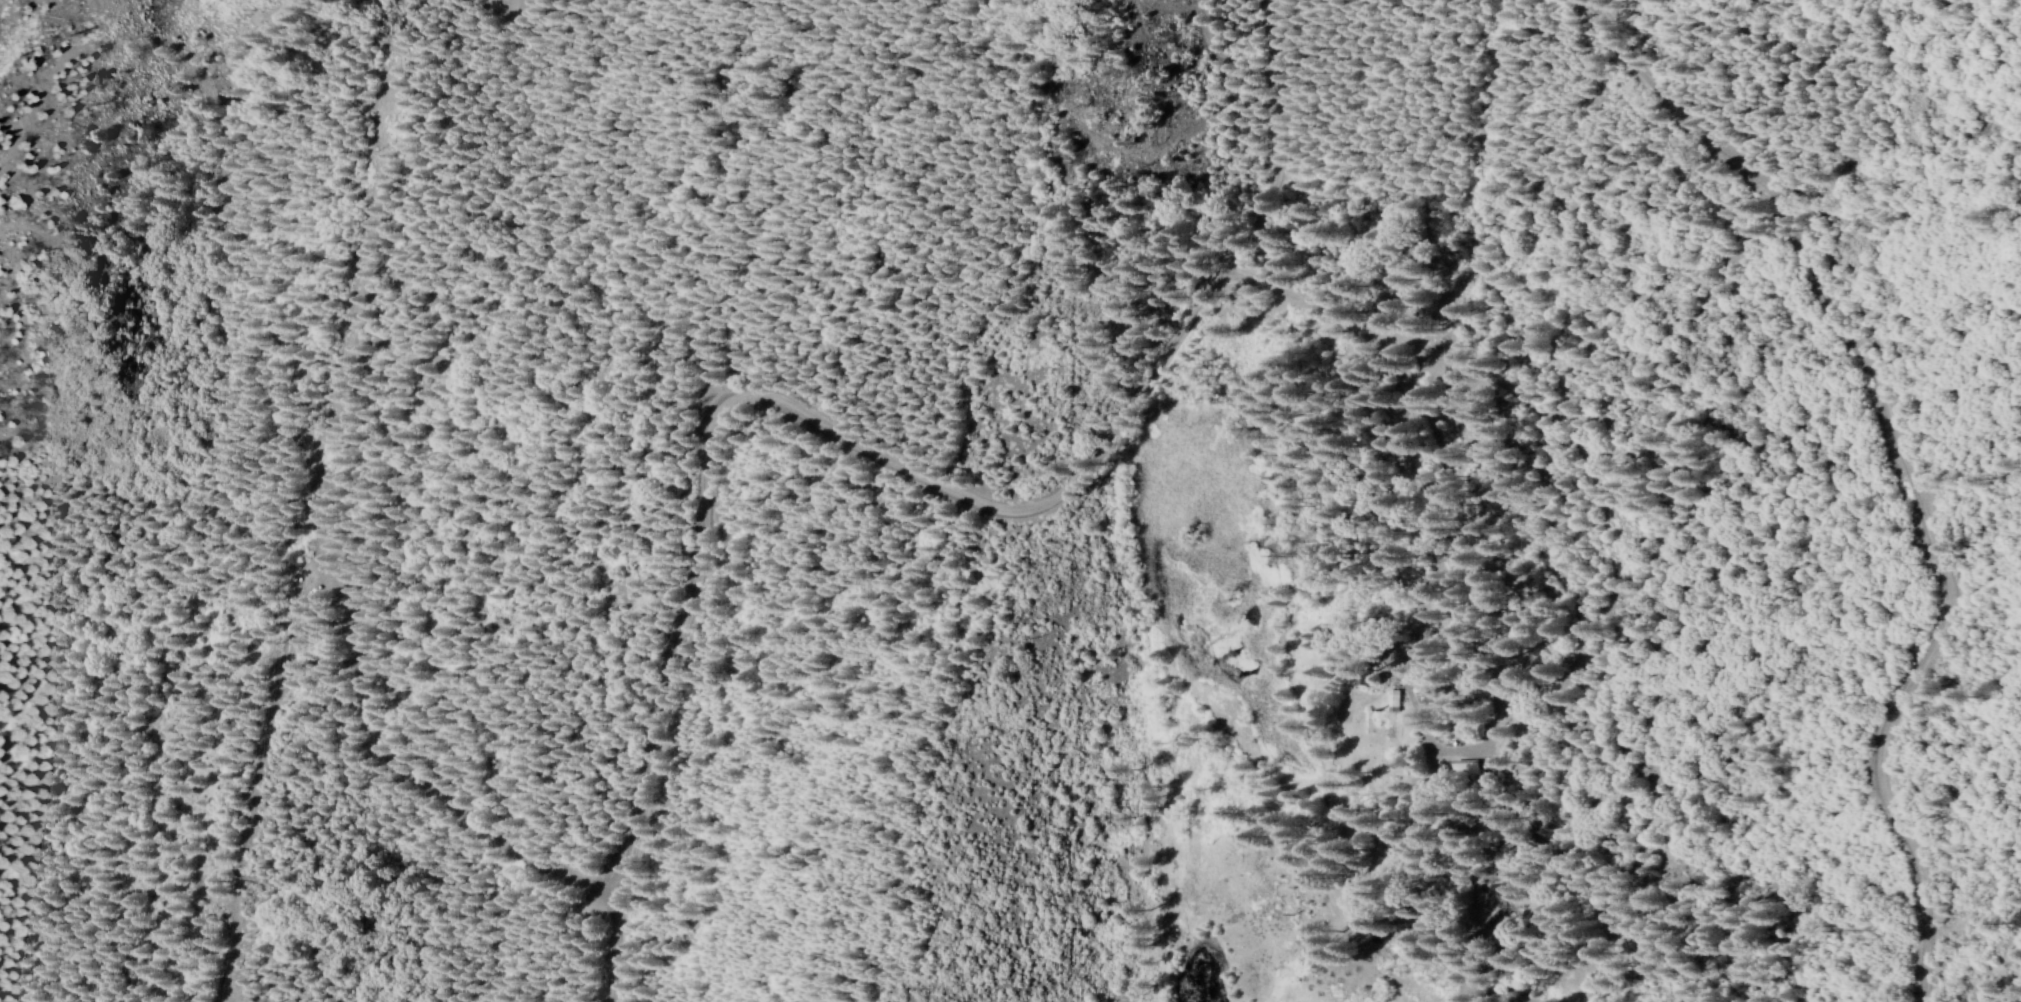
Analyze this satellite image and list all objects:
road: (870, 455)
road: (1890, 465)
building: (1490, 900)

